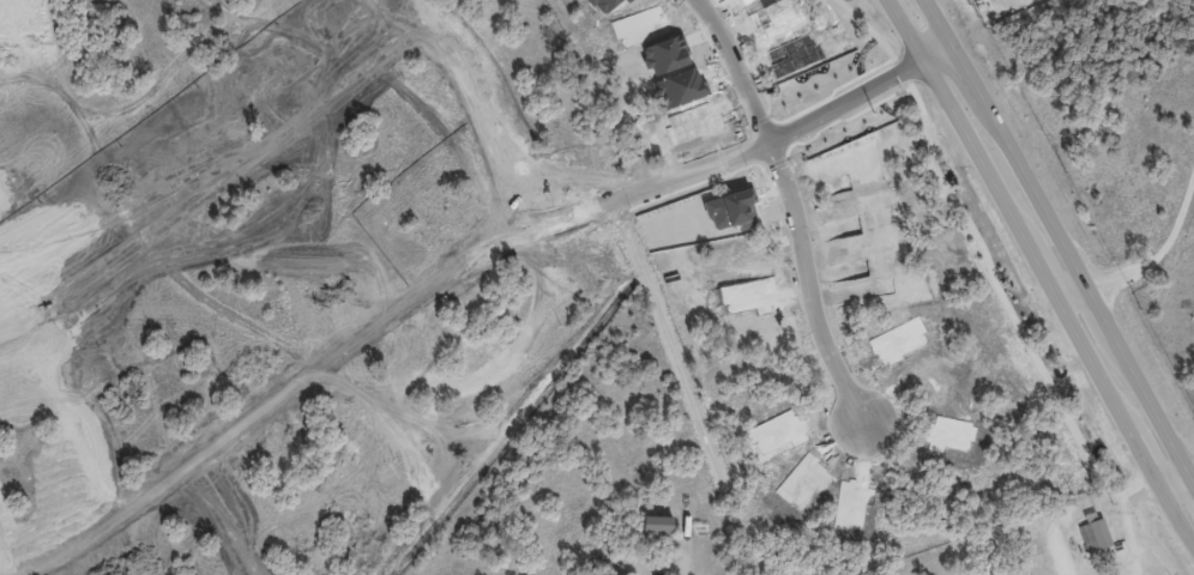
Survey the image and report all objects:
road: (50, 36)
road: (488, 104)
road: (218, 172)
road: (797, 202)
road: (1051, 220)
road: (1163, 252)
road: (1041, 272)
road: (439, 274)
building: (501, 355)
building: (427, 375)
road: (1183, 461)
road: (1168, 467)
building: (397, 504)
road: (227, 516)
road: (1128, 519)
building: (658, 525)
building: (1106, 538)
road: (1060, 553)
road: (2, 567)
building: (610, 574)

